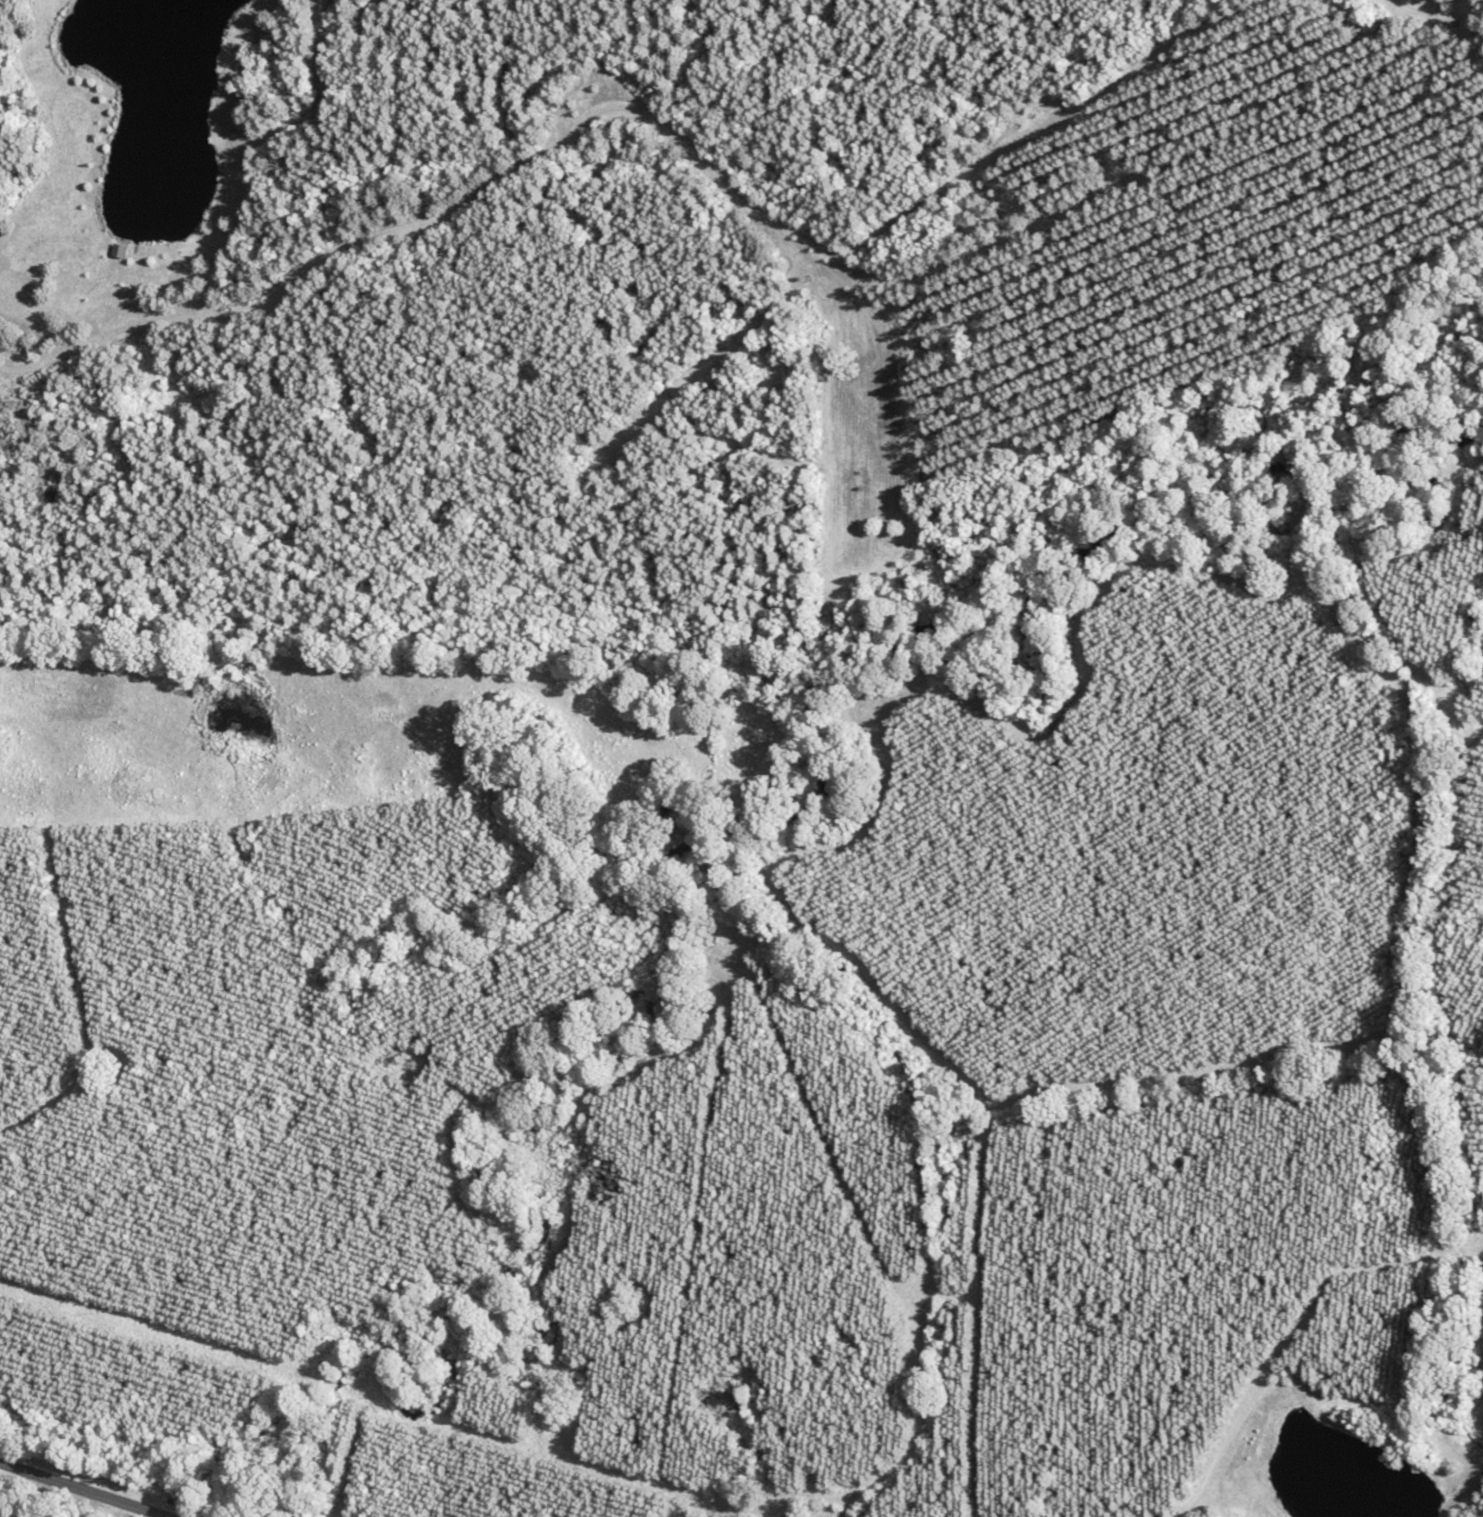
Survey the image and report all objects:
road: (84, 1489)

